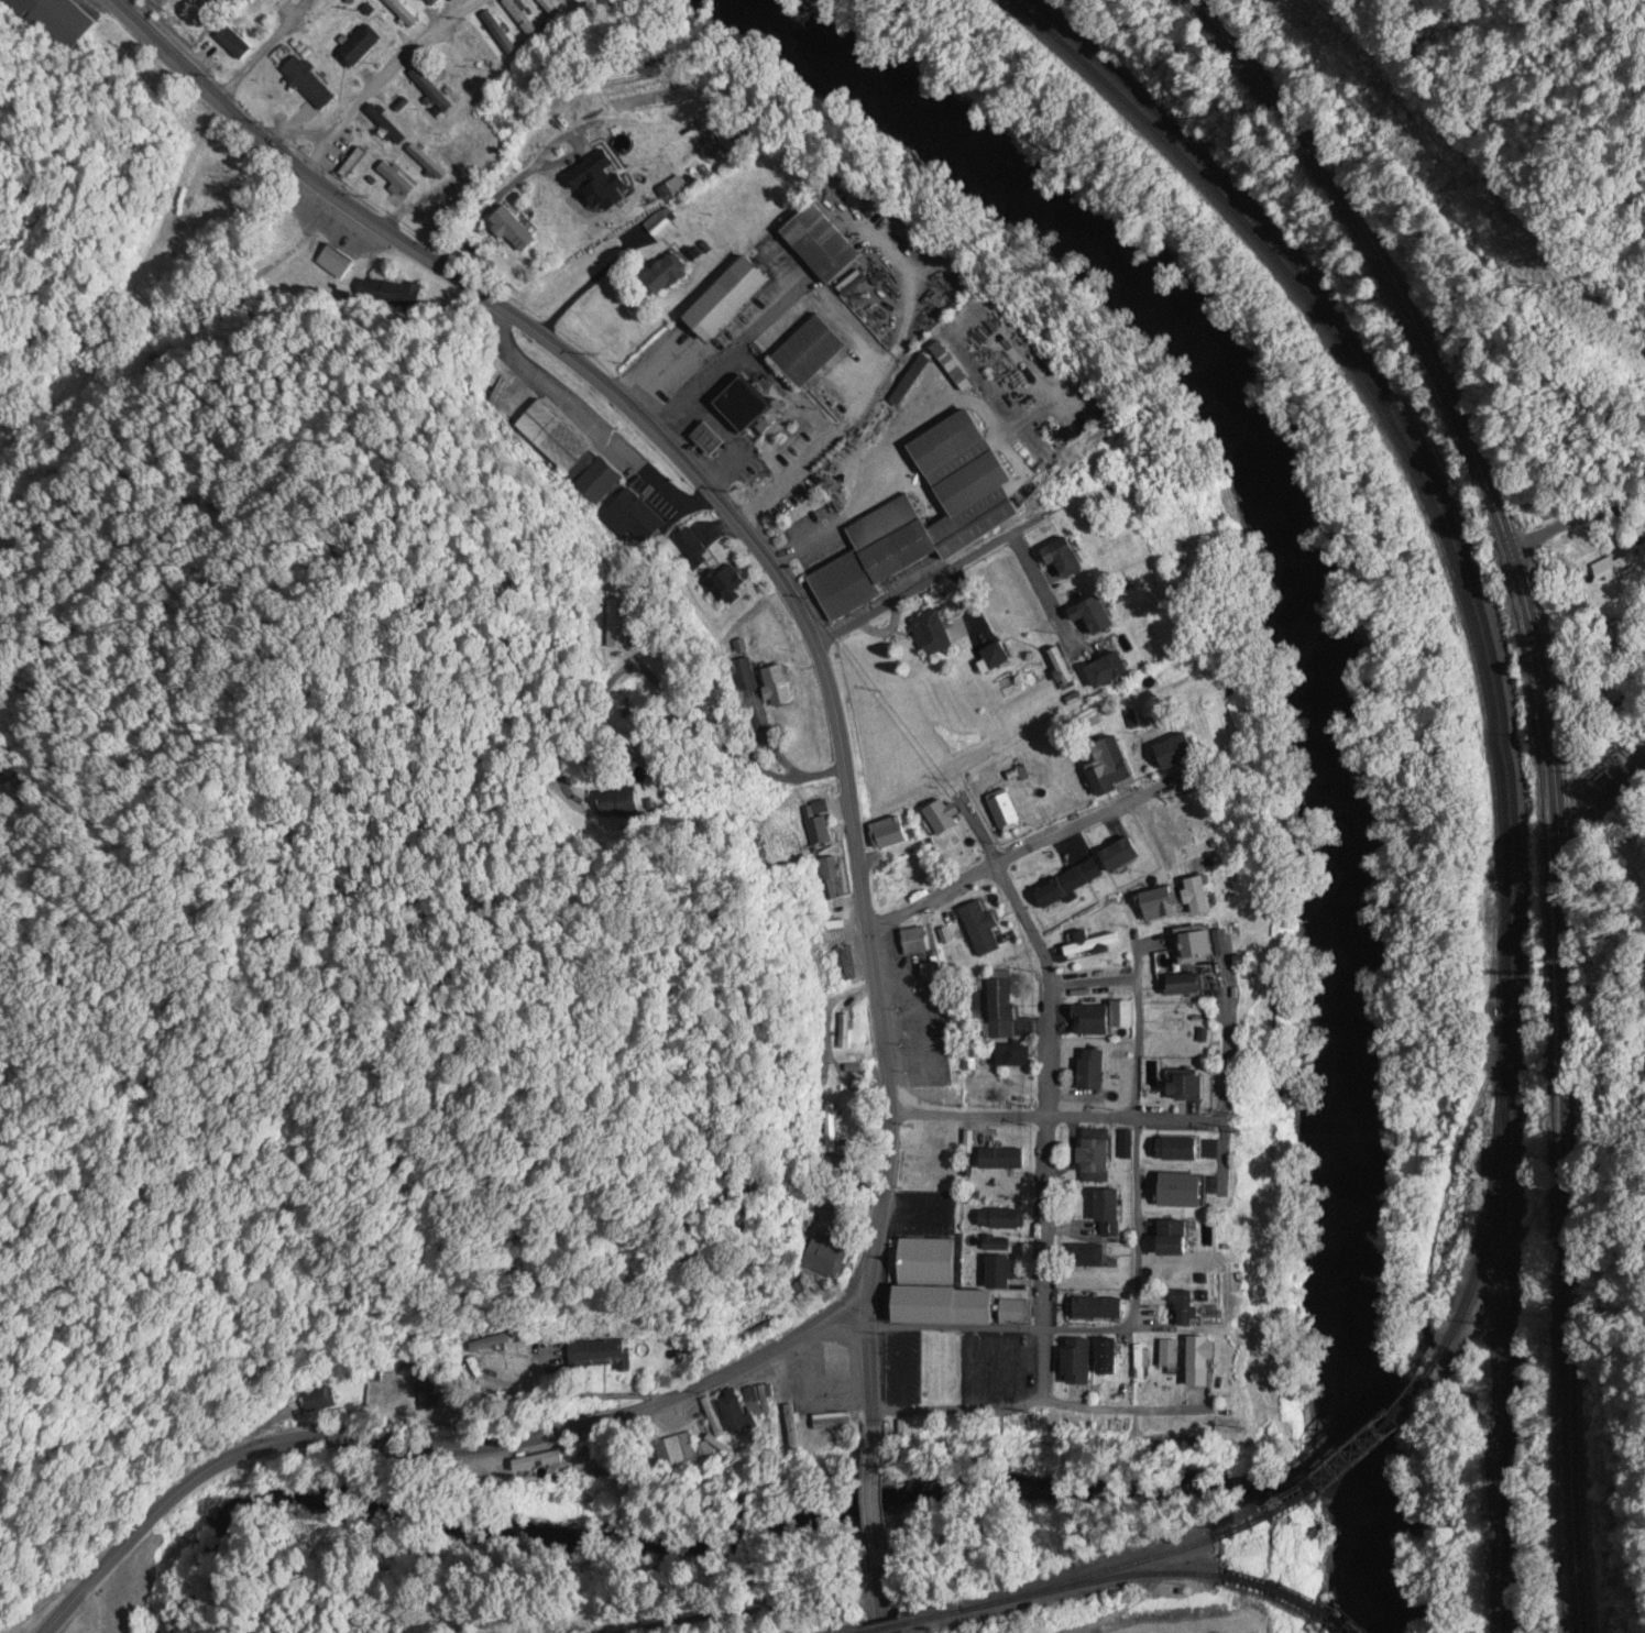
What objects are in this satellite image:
building: (432, 3)
building: (550, 8)
road: (134, 9)
building: (256, 13)
building: (401, 13)
building: (328, 14)
building: (520, 18)
building: (498, 34)
building: (233, 40)
building: (357, 50)
building: (475, 54)
road: (295, 61)
building: (308, 84)
road: (382, 90)
building: (430, 91)
building: (407, 112)
building: (386, 125)
building: (453, 130)
road: (545, 156)
building: (426, 163)
building: (396, 179)
building: (600, 182)
road: (425, 201)
road: (482, 217)
building: (660, 228)
building: (514, 230)
building: (823, 245)
building: (178, 256)
building: (335, 263)
building: (665, 276)
road: (582, 293)
building: (730, 298)
building: (811, 352)
building: (911, 381)
building: (750, 408)
building: (552, 438)
building: (983, 507)
road: (1589, 519)
building: (1068, 559)
building: (1616, 570)
road: (781, 583)
building: (725, 585)
road: (914, 589)
road: (1050, 599)
building: (1096, 616)
building: (935, 634)
building: (998, 658)
building: (1063, 670)
building: (1110, 672)
building: (778, 687)
river: (1328, 710)
railway: (1494, 726)
building: (1180, 754)
road: (1551, 765)
building: (1110, 768)
road: (805, 771)
building: (1005, 813)
building: (942, 819)
road: (1079, 826)
building: (890, 835)
road: (985, 844)
building: (1122, 856)
building: (1085, 876)
building: (907, 880)
building: (1054, 895)
road: (932, 897)
building: (1200, 898)
building: (1160, 906)
building: (988, 942)
building: (917, 943)
building: (1089, 944)
building: (1199, 946)
building: (932, 974)
building: (1186, 986)
building: (1001, 1006)
building: (1094, 1022)
building: (1174, 1022)
building: (845, 1032)
building: (1013, 1057)
building: (1094, 1072)
building: (1192, 1088)
road: (1019, 1117)
road: (1048, 1128)
road: (1134, 1140)
building: (1180, 1151)
building: (1097, 1157)
building: (1184, 1192)
railway: (1491, 1215)
building: (1109, 1216)
building: (1000, 1220)
building: (1175, 1240)
building: (997, 1246)
building: (1089, 1257)
building: (827, 1260)
building: (928, 1262)
building: (1001, 1274)
building: (947, 1307)
building: (1098, 1311)
building: (1187, 1311)
building: (1018, 1314)
road: (998, 1329)
building: (743, 1336)
building: (491, 1345)
building: (601, 1356)
building: (1170, 1357)
building: (1108, 1359)
building: (1079, 1363)
building: (1142, 1363)
building: (1203, 1363)
building: (428, 1400)
building: (321, 1402)
building: (757, 1402)
road: (968, 1410)
building: (734, 1416)
building: (833, 1423)
building: (791, 1427)
road: (436, 1448)
building: (677, 1454)
railway: (1352, 1471)
road: (876, 1505)
railway: (1088, 1577)
railway: (1089, 1585)
road: (881, 1589)
railway: (1294, 1598)
railway: (934, 1620)
railway: (891, 1630)

